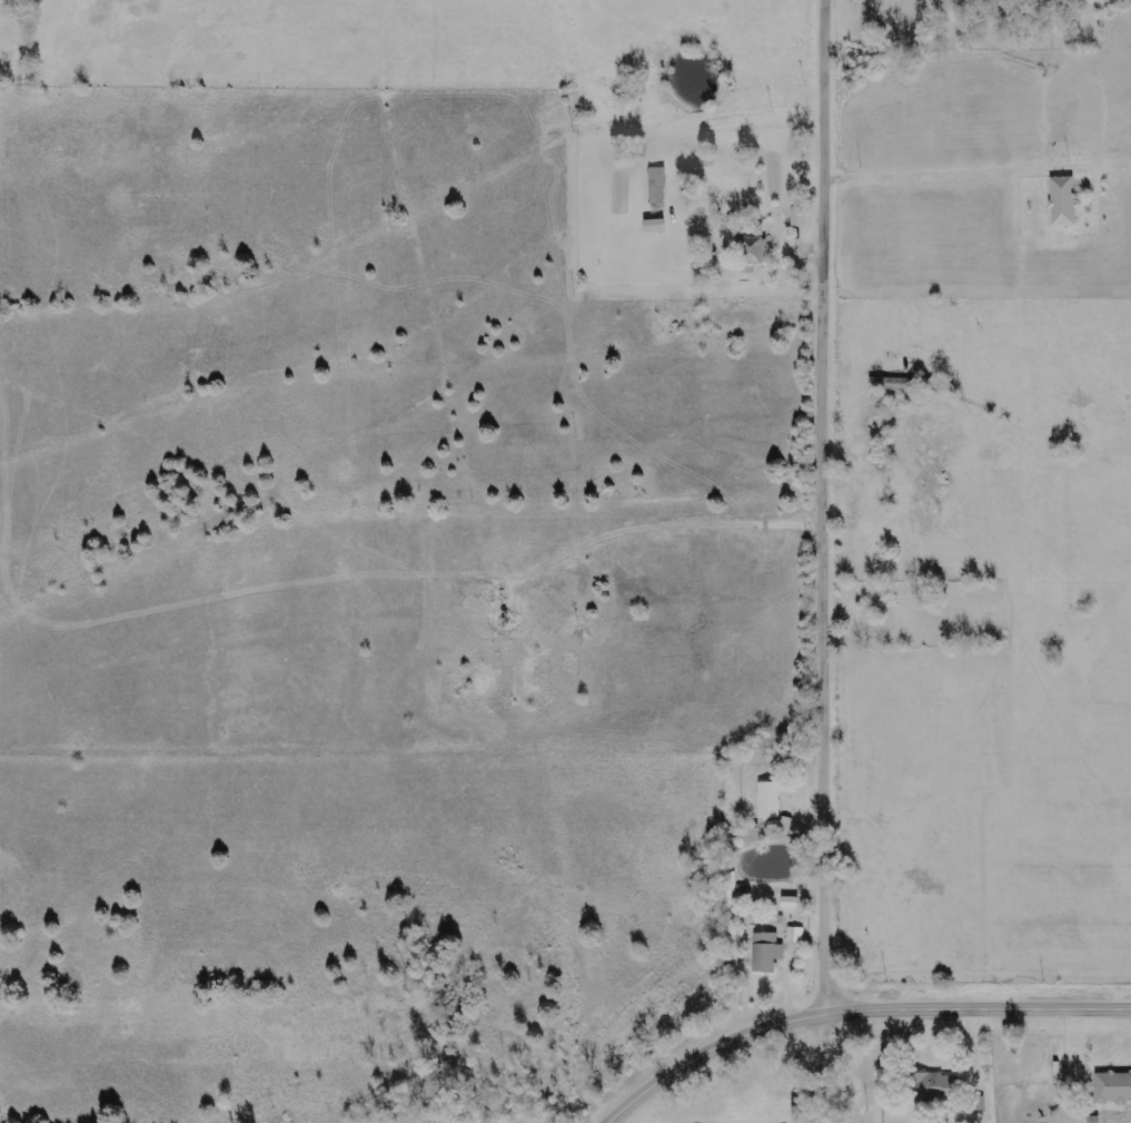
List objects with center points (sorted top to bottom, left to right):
building: (656, 186)
building: (1062, 201)
building: (797, 219)
building: (751, 253)
building: (896, 384)
road: (832, 561)
building: (767, 800)
building: (788, 903)
building: (794, 935)
building: (765, 952)
road: (853, 1008)
building: (935, 1087)
building: (1112, 1088)

